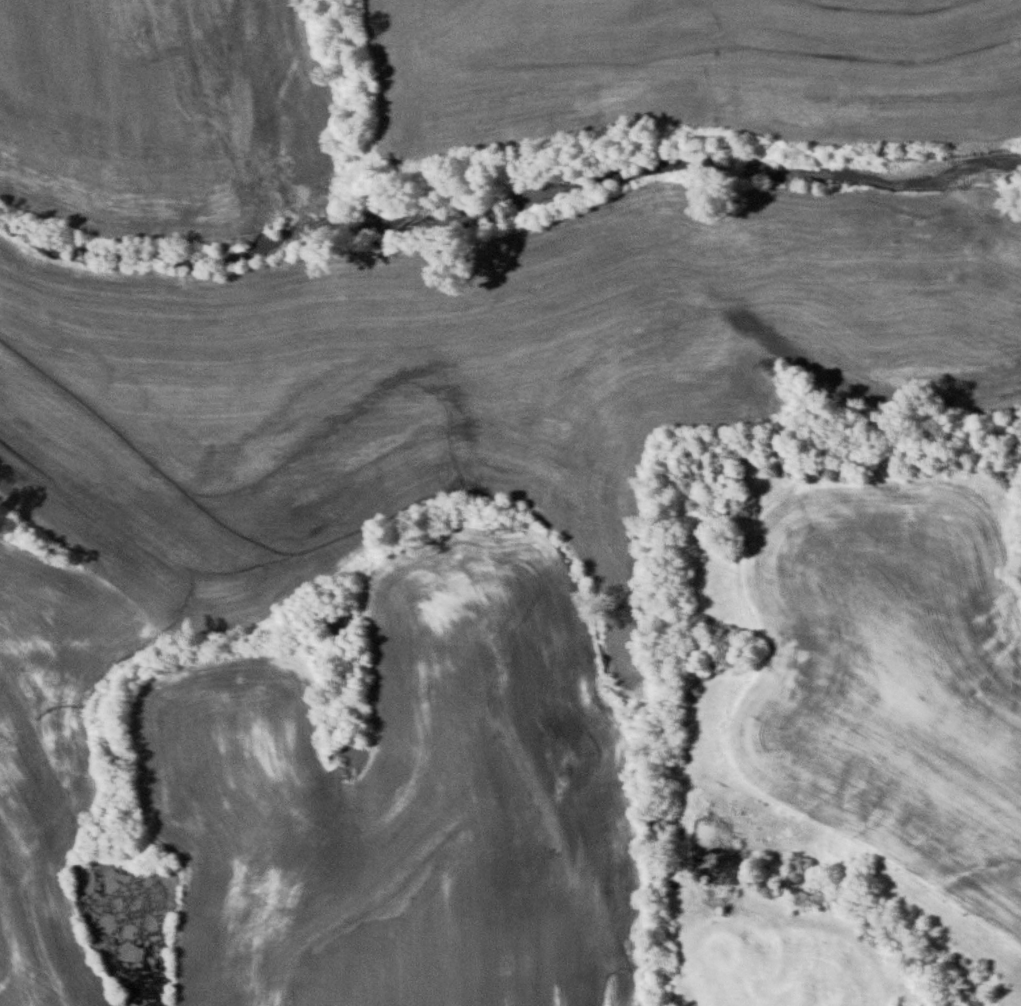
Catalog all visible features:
river: (507, 199)

